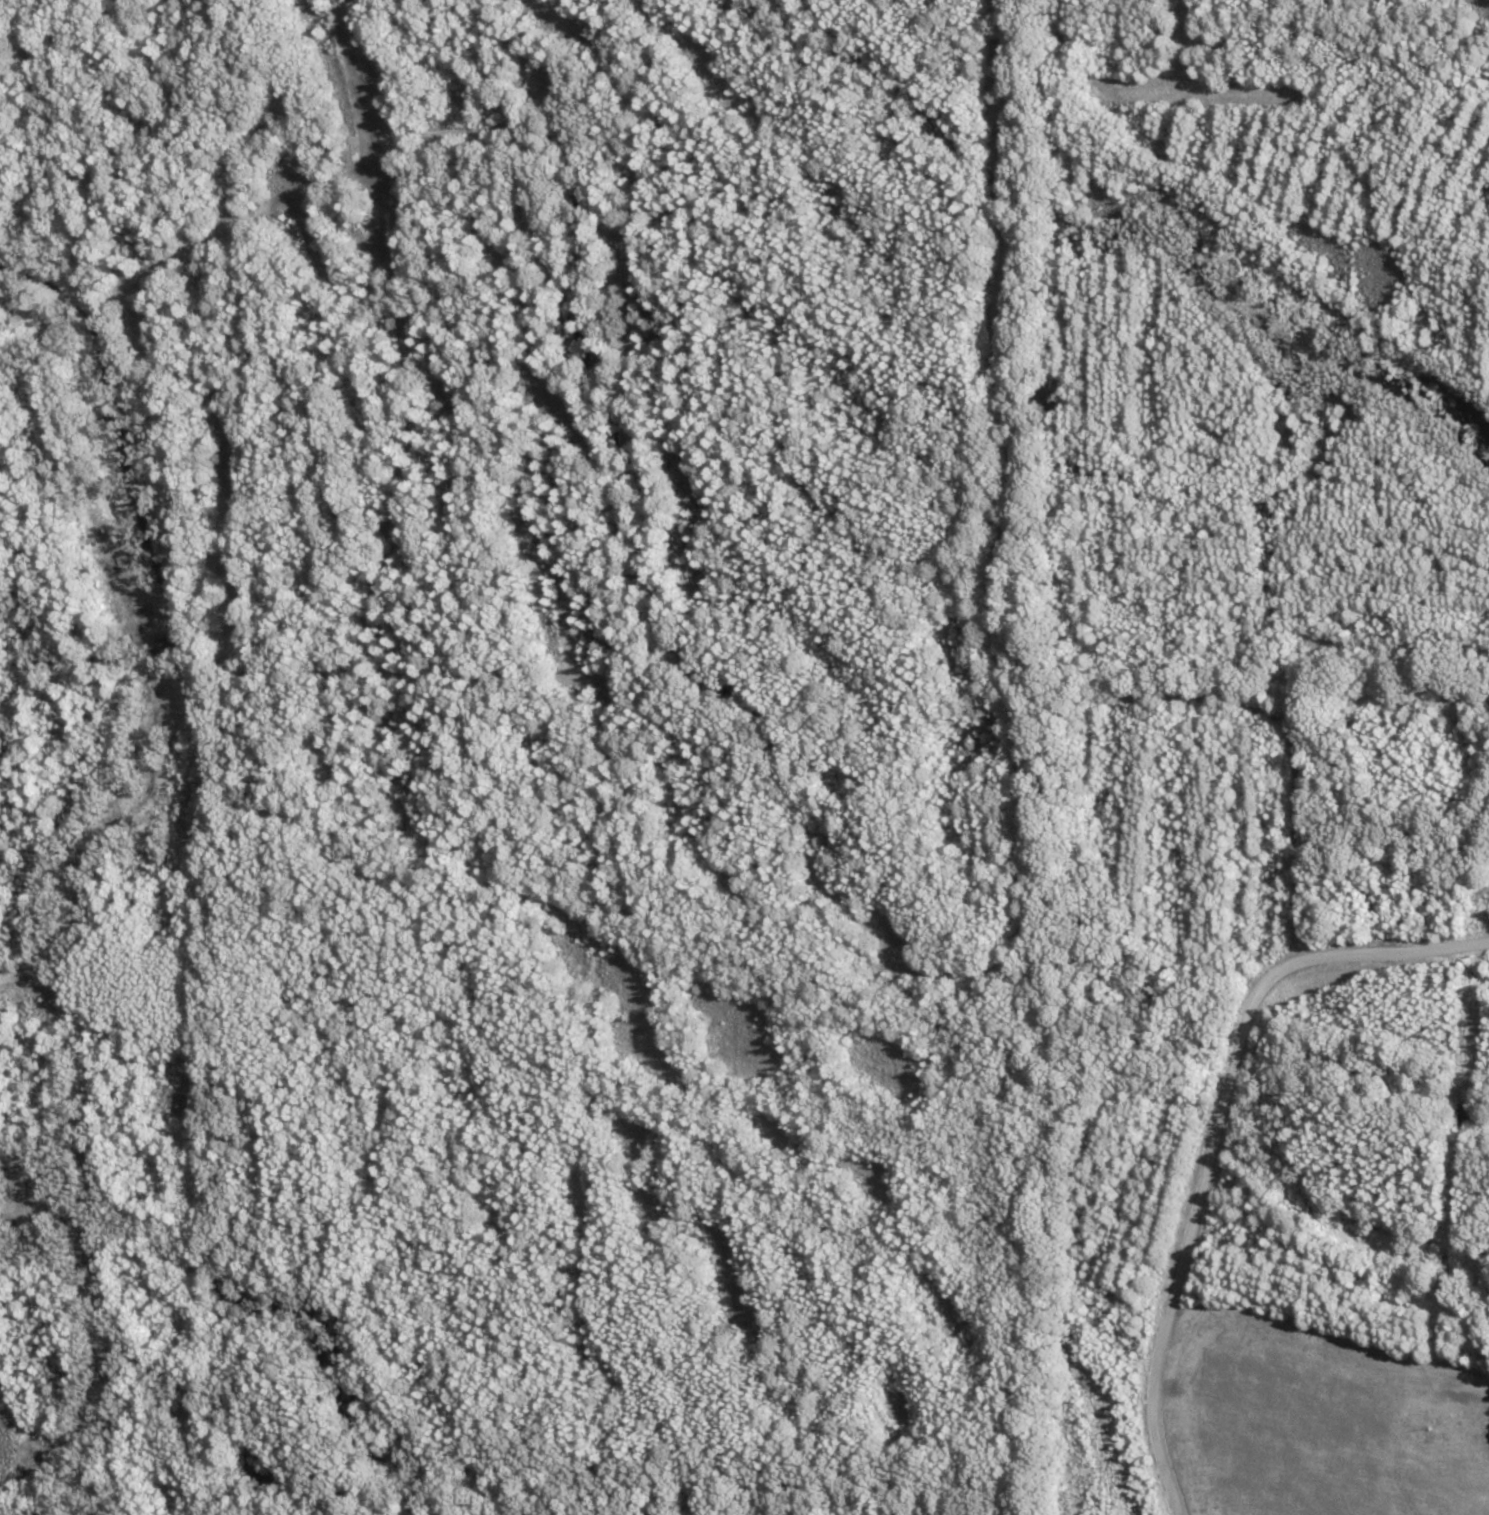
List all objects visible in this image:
road: (1218, 1157)

